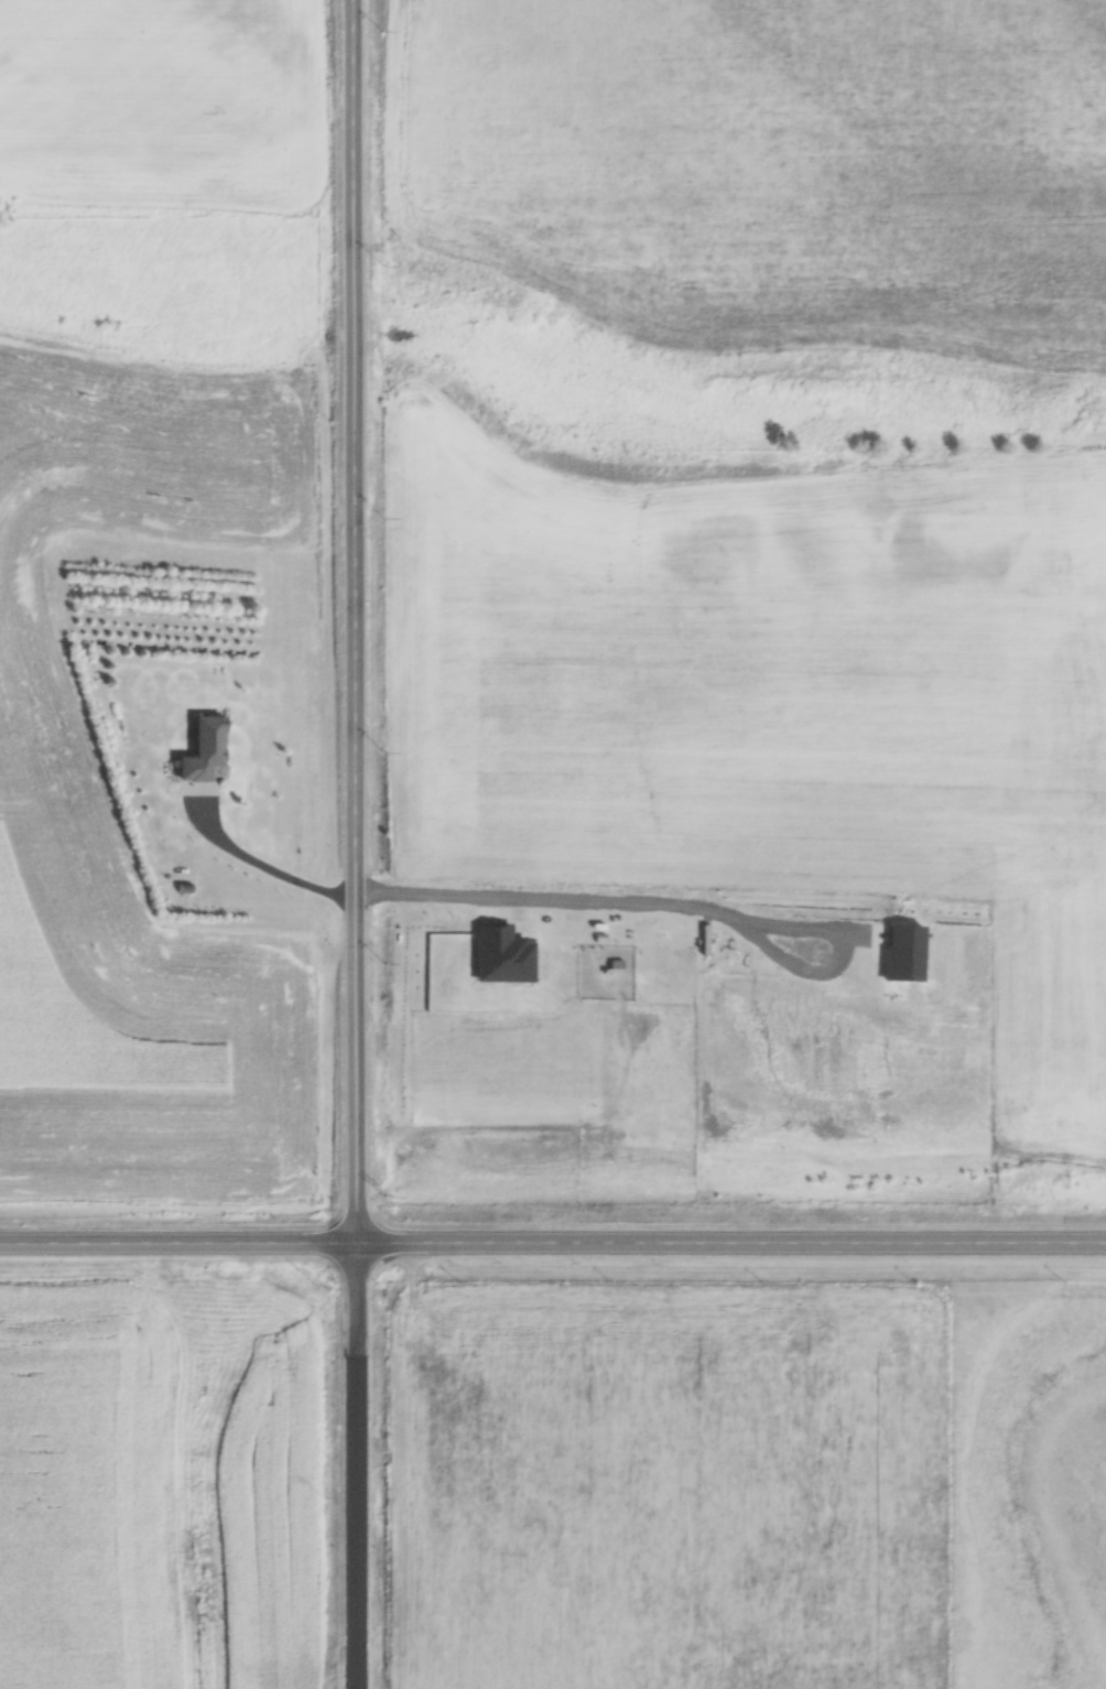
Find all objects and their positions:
road: (353, 844)
road: (262, 864)
road: (686, 903)
road: (552, 1239)

